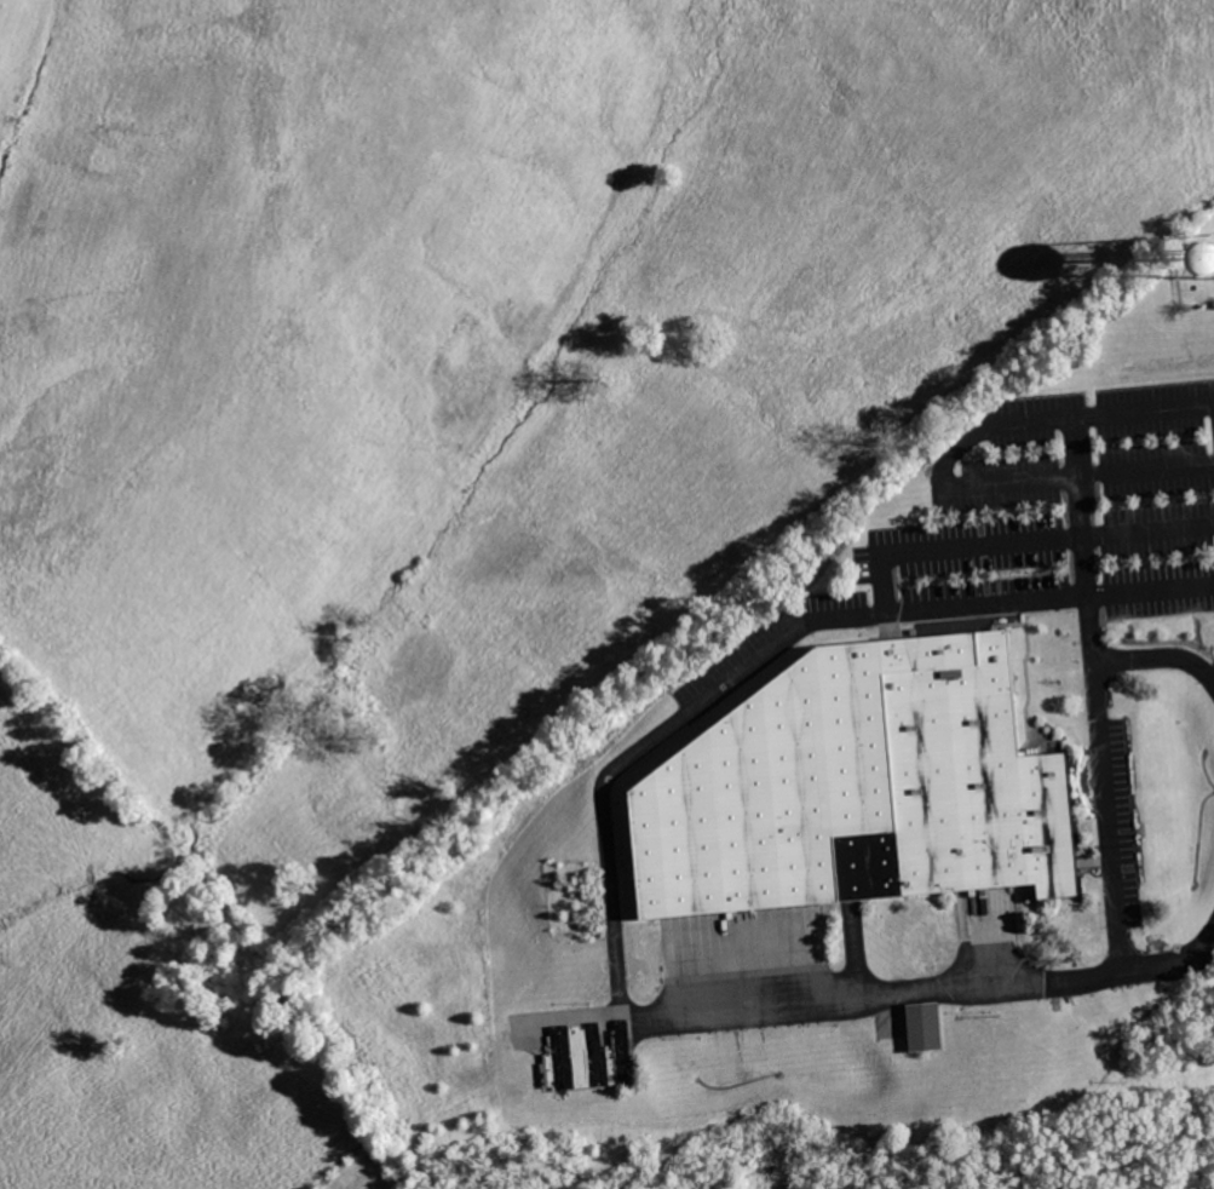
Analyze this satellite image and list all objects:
building: (1203, 260)
building: (874, 788)
road: (1109, 808)
road: (610, 831)
building: (937, 1028)

